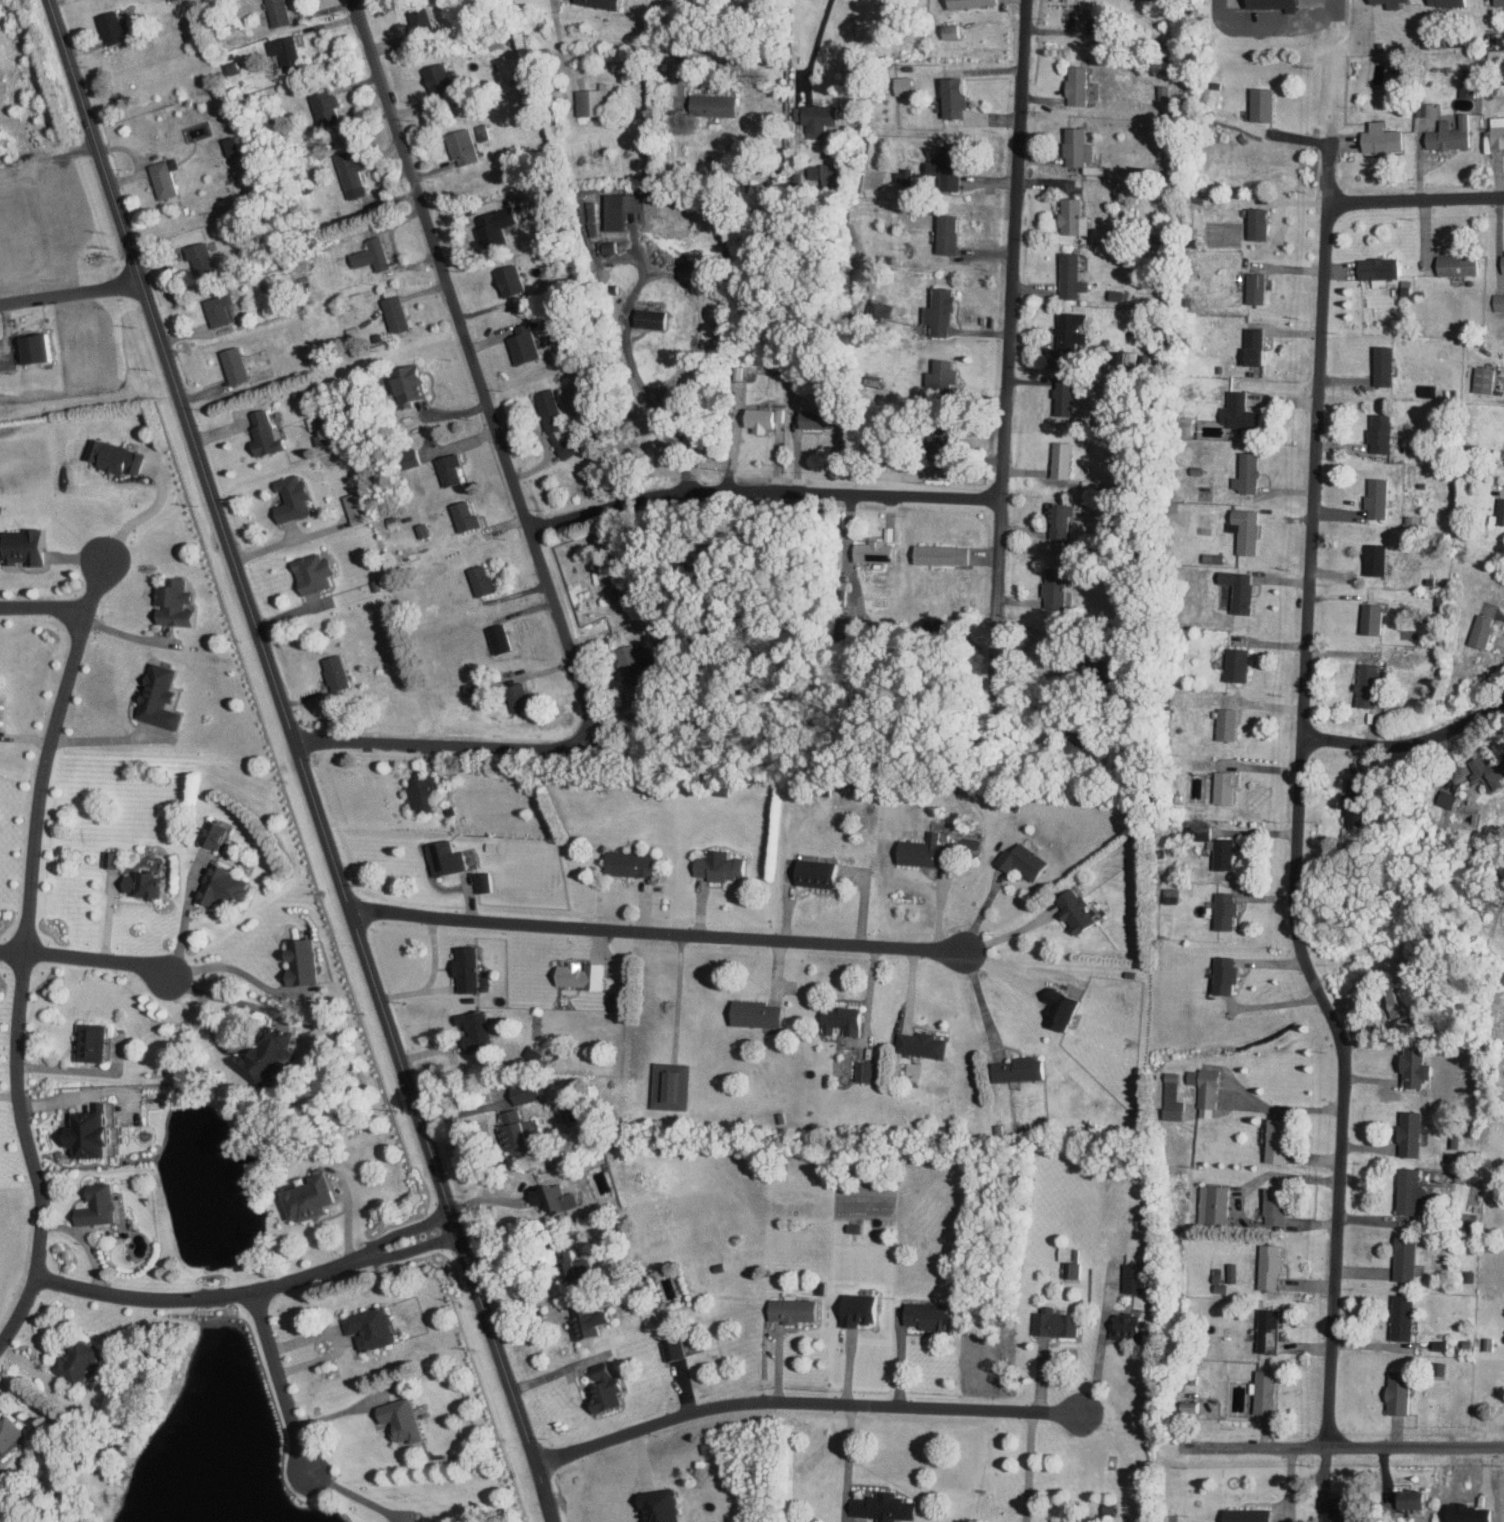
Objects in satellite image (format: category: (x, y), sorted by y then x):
building: (1061, 0)
road: (1337, 2)
building: (1443, 2)
building: (1497, 2)
building: (605, 3)
building: (973, 3)
building: (1385, 3)
building: (1269, 4)
building: (281, 12)
building: (422, 18)
road: (1271, 26)
building: (116, 27)
building: (953, 30)
road: (673, 42)
road: (815, 44)
building: (289, 52)
building: (906, 84)
building: (1073, 84)
building: (956, 97)
building: (595, 102)
building: (1258, 103)
building: (719, 104)
building: (328, 107)
building: (820, 117)
building: (1495, 130)
building: (1447, 134)
building: (1376, 138)
building: (233, 145)
building: (1073, 146)
building: (465, 147)
road: (1324, 147)
building: (950, 167)
building: (354, 173)
building: (905, 175)
building: (166, 177)
road: (1415, 199)
building: (624, 209)
building: (1066, 215)
building: (1253, 222)
building: (498, 226)
building: (949, 233)
building: (613, 248)
building: (374, 254)
building: (204, 258)
building: (1501, 261)
building: (1453, 264)
building: (1375, 269)
building: (1067, 275)
building: (513, 280)
building: (1252, 287)
road: (633, 290)
road: (71, 291)
building: (1497, 301)
building: (222, 309)
building: (942, 311)
building: (398, 314)
building: (654, 318)
building: (526, 345)
building: (1249, 345)
building: (238, 365)
building: (1379, 365)
road: (479, 374)
building: (944, 374)
building: (1480, 381)
building: (414, 385)
road: (1009, 389)
building: (1059, 398)
building: (1234, 410)
building: (766, 418)
building: (819, 418)
building: (559, 425)
building: (1376, 432)
building: (268, 434)
building: (119, 456)
building: (413, 457)
building: (1056, 459)
building: (453, 469)
building: (1243, 472)
road: (764, 489)
road: (1498, 489)
building: (1374, 497)
building: (295, 498)
building: (357, 508)
building: (1499, 511)
road: (141, 515)
building: (468, 516)
building: (1054, 519)
building: (1241, 529)
building: (26, 547)
building: (878, 552)
building: (945, 554)
building: (1372, 559)
building: (317, 572)
building: (485, 580)
building: (1235, 589)
building: (1050, 593)
building: (177, 602)
road: (43, 605)
building: (1368, 618)
building: (1479, 630)
road: (129, 636)
building: (502, 638)
building: (635, 662)
building: (1232, 664)
building: (339, 673)
building: (1363, 684)
building: (475, 688)
building: (163, 697)
building: (522, 697)
building: (2, 711)
building: (1223, 723)
road: (1407, 735)
road: (102, 738)
road: (522, 747)
road: (301, 760)
building: (1485, 770)
building: (1219, 787)
building: (426, 793)
building: (1443, 798)
road: (1299, 829)
building: (216, 832)
building: (926, 849)
building: (1221, 852)
building: (114, 857)
building: (448, 857)
building: (634, 861)
building: (1023, 861)
building: (724, 866)
building: (822, 871)
building: (485, 880)
building: (149, 883)
building: (225, 884)
road: (982, 909)
building: (1070, 910)
building: (1222, 910)
road: (107, 912)
road: (184, 917)
road: (657, 931)
road: (1013, 932)
road: (22, 953)
road: (86, 956)
building: (305, 961)
road: (225, 965)
building: (469, 968)
building: (584, 973)
building: (1221, 975)
road: (429, 977)
road: (909, 985)
road: (677, 994)
road: (223, 998)
road: (869, 999)
road: (980, 1000)
building: (1054, 1008)
building: (761, 1012)
building: (847, 1018)
building: (478, 1027)
building: (94, 1041)
building: (925, 1043)
building: (270, 1053)
building: (1410, 1067)
building: (1017, 1068)
road: (73, 1069)
building: (867, 1070)
building: (675, 1085)
building: (1202, 1087)
building: (1170, 1089)
building: (529, 1091)
road: (9, 1094)
road: (1278, 1108)
road: (464, 1110)
building: (1169, 1113)
building: (98, 1131)
building: (521, 1133)
building: (1406, 1133)
building: (1270, 1139)
building: (1407, 1190)
building: (558, 1196)
building: (312, 1197)
road: (1238, 1201)
building: (1211, 1203)
building: (104, 1204)
building: (1270, 1205)
building: (858, 1227)
road: (401, 1231)
road: (407, 1250)
road: (516, 1251)
building: (1401, 1257)
building: (1266, 1265)
building: (582, 1267)
building: (1072, 1269)
building: (1128, 1277)
road: (197, 1298)
building: (797, 1308)
building: (863, 1308)
building: (930, 1314)
building: (1399, 1316)
building: (591, 1320)
building: (1051, 1321)
building: (374, 1327)
building: (1265, 1329)
road: (343, 1336)
road: (1099, 1344)
building: (676, 1349)
building: (79, 1361)
road: (554, 1372)
road: (279, 1382)
building: (608, 1387)
building: (1260, 1390)
building: (1394, 1393)
road: (805, 1402)
road: (339, 1412)
building: (404, 1418)
building: (11, 1431)
road: (1416, 1448)
road: (848, 1459)
road: (1292, 1460)
road: (1030, 1466)
road: (354, 1494)
building: (1403, 1498)
building: (664, 1505)
building: (888, 1506)
building: (1241, 1514)

